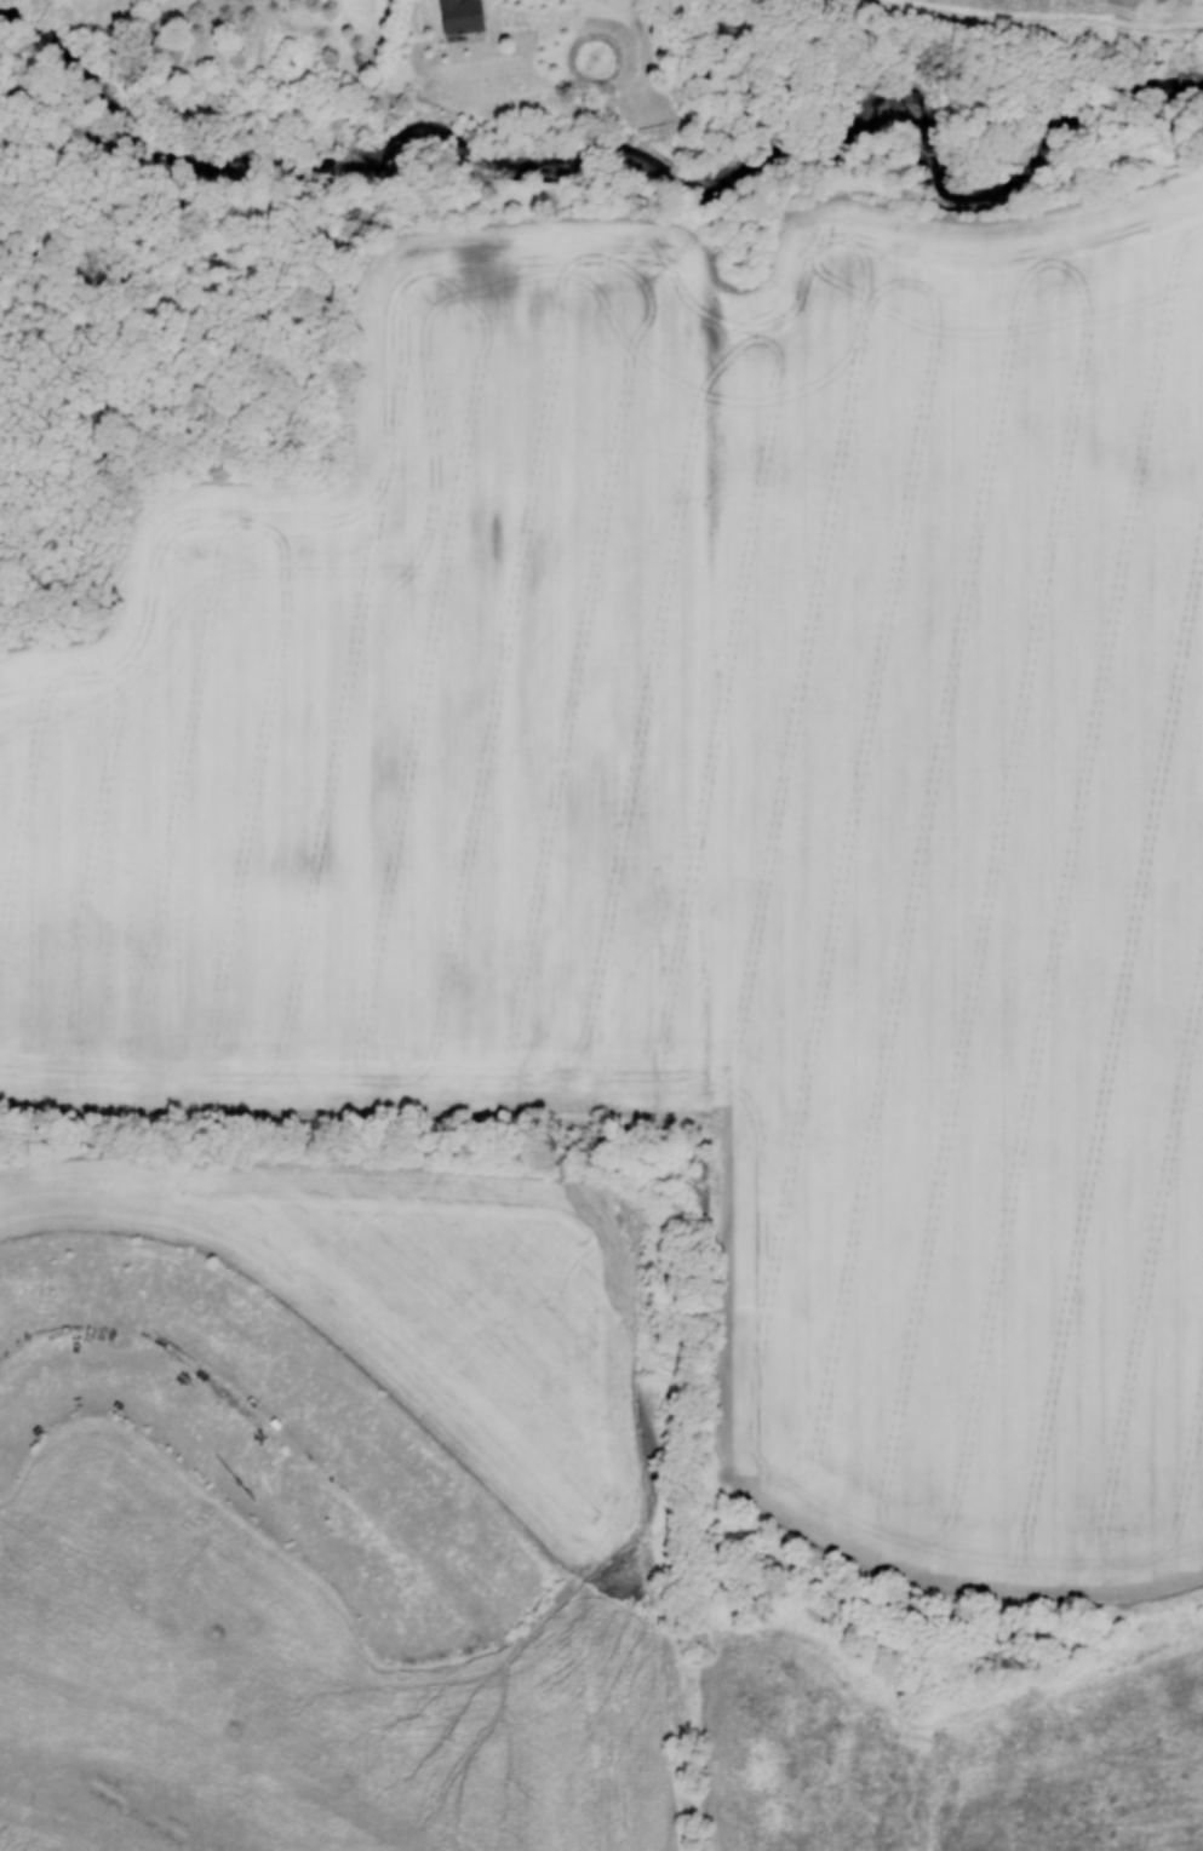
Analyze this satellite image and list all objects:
building: (459, 16)

